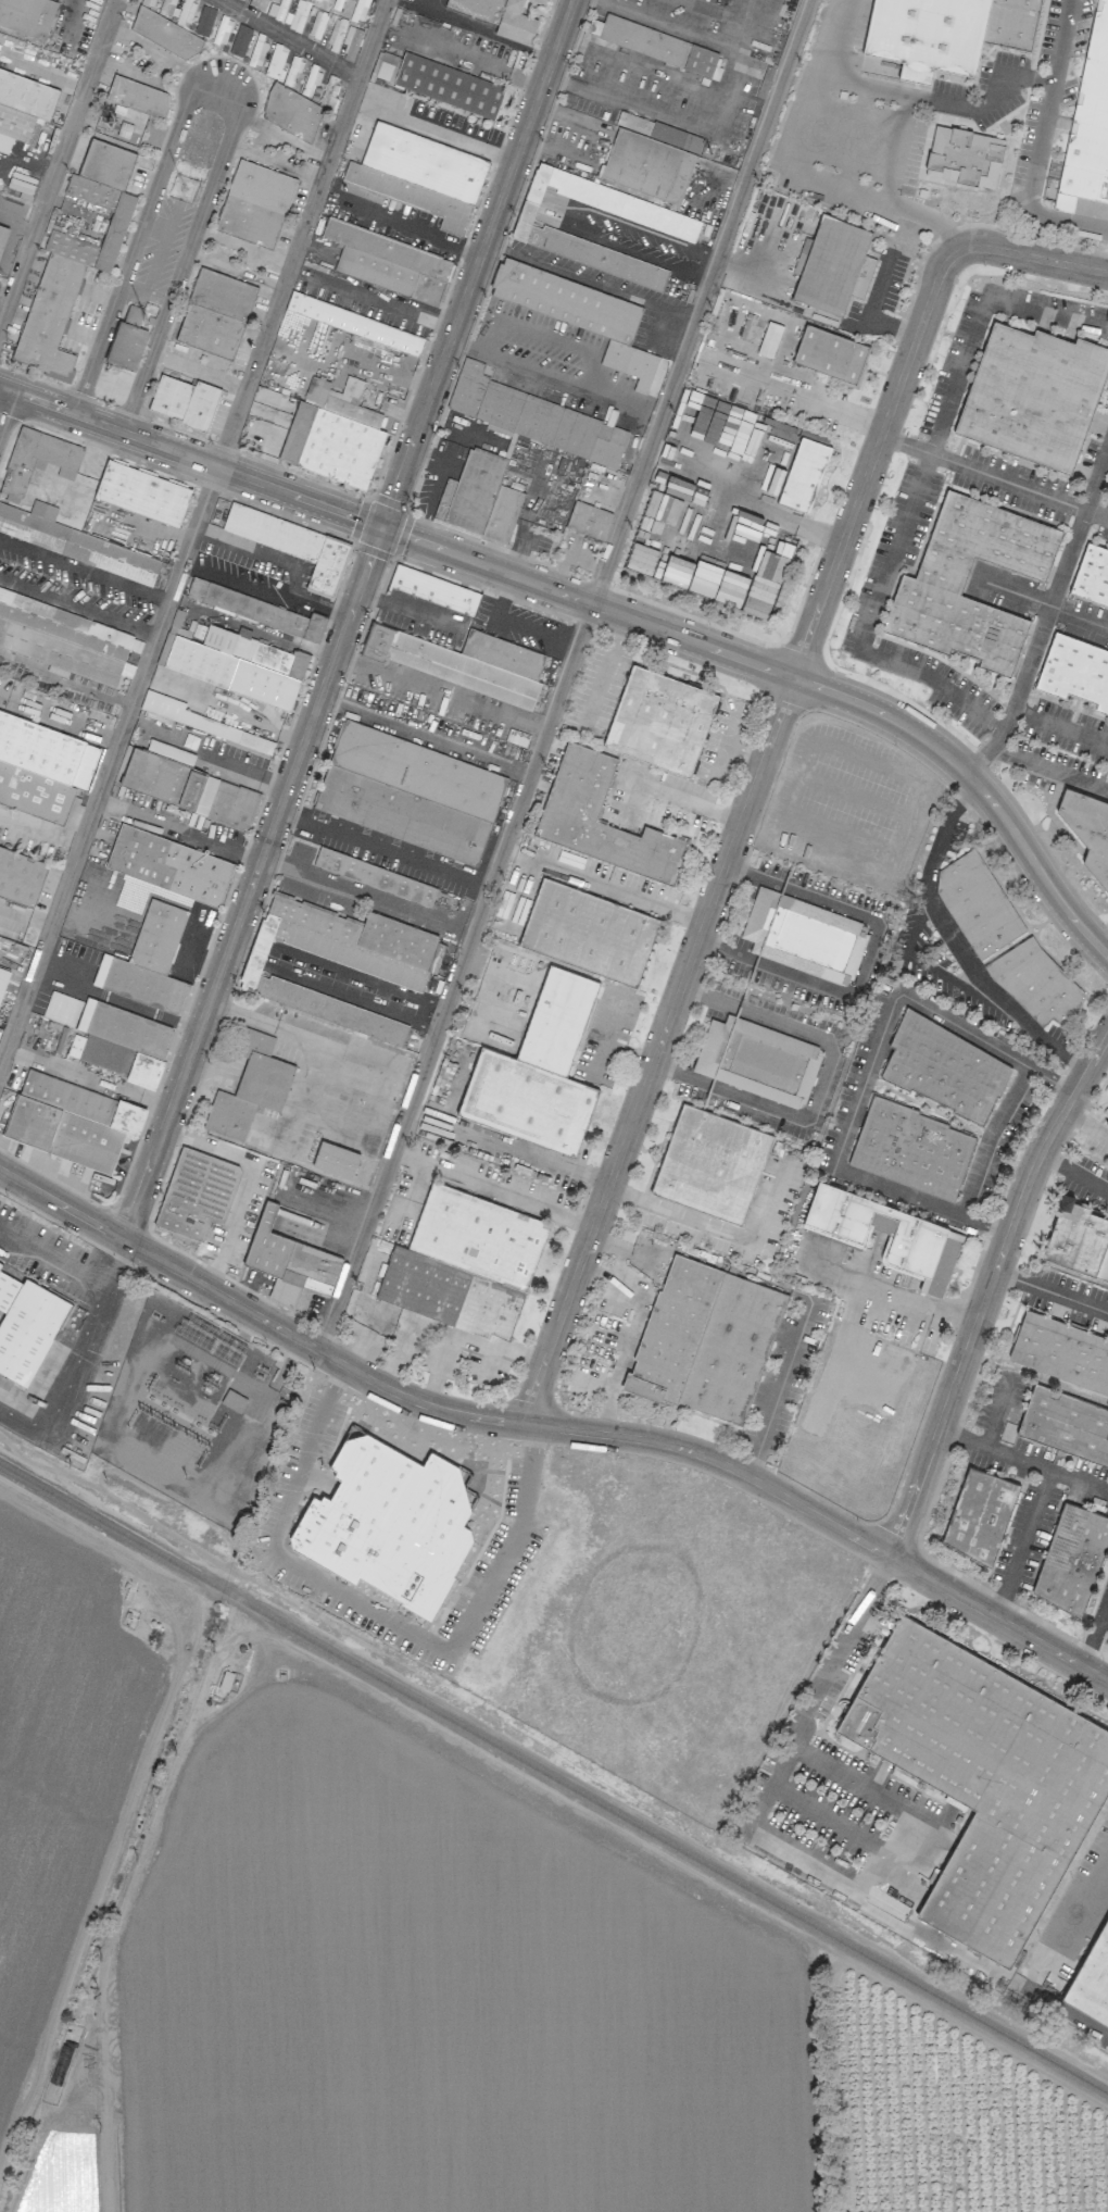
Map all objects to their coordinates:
building: (542, 2)
building: (281, 10)
building: (360, 10)
building: (27, 15)
building: (503, 18)
building: (204, 21)
building: (1011, 23)
building: (317, 24)
building: (222, 30)
building: (165, 34)
road: (483, 34)
building: (927, 36)
road: (289, 38)
building: (240, 40)
building: (662, 47)
parking lot: (1069, 52)
building: (276, 63)
building: (444, 84)
road: (221, 87)
building: (329, 92)
road: (903, 93)
building: (137, 97)
road: (1047, 105)
building: (22, 107)
building: (291, 113)
parking lot: (892, 115)
building: (112, 122)
building: (1088, 125)
road: (856, 138)
road: (898, 149)
building: (965, 158)
building: (423, 159)
road: (58, 160)
building: (643, 166)
road: (797, 176)
road: (518, 183)
road: (536, 189)
building: (411, 196)
building: (254, 203)
road: (509, 208)
road: (527, 214)
road: (932, 218)
road: (1066, 220)
road: (398, 224)
road: (630, 224)
building: (675, 228)
building: (2, 235)
road: (243, 246)
road: (620, 249)
building: (76, 252)
road: (1032, 257)
building: (388, 261)
building: (829, 264)
road: (590, 278)
road: (376, 301)
road: (701, 301)
road: (2, 303)
building: (578, 312)
building: (215, 313)
road: (868, 320)
building: (351, 323)
building: (127, 339)
building: (769, 339)
building: (829, 353)
road: (591, 380)
building: (1034, 397)
road: (3, 399)
building: (184, 401)
road: (842, 412)
building: (330, 433)
building: (592, 448)
building: (37, 461)
building: (799, 470)
road: (996, 477)
building: (1107, 490)
building: (142, 492)
road: (744, 501)
building: (589, 520)
traffic signals: (381, 526)
road: (192, 534)
building: (73, 541)
building: (293, 545)
road: (259, 552)
road: (891, 553)
road: (85, 571)
building: (1095, 575)
road: (239, 579)
building: (931, 580)
building: (433, 589)
road: (78, 604)
road: (599, 605)
road: (320, 608)
building: (255, 609)
road: (347, 618)
road: (1044, 623)
building: (177, 626)
building: (67, 640)
building: (463, 662)
building: (238, 665)
building: (1073, 673)
road: (439, 693)
road: (29, 709)
building: (173, 711)
building: (659, 721)
road: (425, 735)
road: (993, 741)
building: (43, 768)
building: (185, 785)
building: (577, 789)
building: (410, 792)
road: (688, 801)
building: (1088, 829)
road: (741, 833)
road: (38, 837)
road: (383, 850)
building: (168, 866)
building: (21, 873)
road: (756, 875)
building: (375, 876)
road: (783, 885)
road: (605, 886)
road: (367, 895)
building: (977, 903)
road: (25, 918)
building: (589, 932)
building: (804, 936)
road: (956, 945)
road: (727, 952)
road: (270, 955)
road: (865, 959)
building: (338, 960)
road: (915, 960)
building: (148, 961)
road: (755, 963)
building: (3, 976)
road: (456, 976)
building: (1035, 982)
road: (715, 997)
road: (116, 1002)
building: (62, 1008)
road: (746, 1009)
building: (122, 1041)
building: (757, 1060)
building: (944, 1068)
building: (538, 1071)
road: (687, 1074)
road: (869, 1077)
road: (826, 1085)
building: (250, 1087)
road: (718, 1087)
building: (71, 1121)
building: (1107, 1123)
road: (1086, 1128)
road: (990, 1140)
building: (911, 1149)
building: (335, 1159)
building: (710, 1163)
road: (1075, 1176)
road: (493, 1191)
building: (196, 1195)
road: (716, 1233)
building: (887, 1235)
building: (1078, 1239)
road: (701, 1255)
building: (289, 1261)
building: (464, 1262)
building: (0, 1264)
road: (70, 1273)
road: (1054, 1291)
road: (891, 1296)
road: (991, 1296)
building: (26, 1326)
road: (405, 1330)
road: (634, 1332)
road: (466, 1340)
building: (706, 1340)
building: (1060, 1352)
road: (339, 1383)
road: (782, 1386)
power substation: (197, 1410)
road: (998, 1416)
building: (1066, 1424)
road: (553, 1427)
road: (1023, 1462)
road: (531, 1478)
building: (979, 1514)
building: (388, 1522)
road: (1024, 1546)
building: (1071, 1558)
road: (354, 1598)
road: (1103, 1619)
road: (1093, 1627)
road: (823, 1684)
building: (983, 1777)
railway: (554, 1778)
road: (904, 1835)
road: (1080, 1903)
crop: (413, 1972)
building: (1093, 1979)

